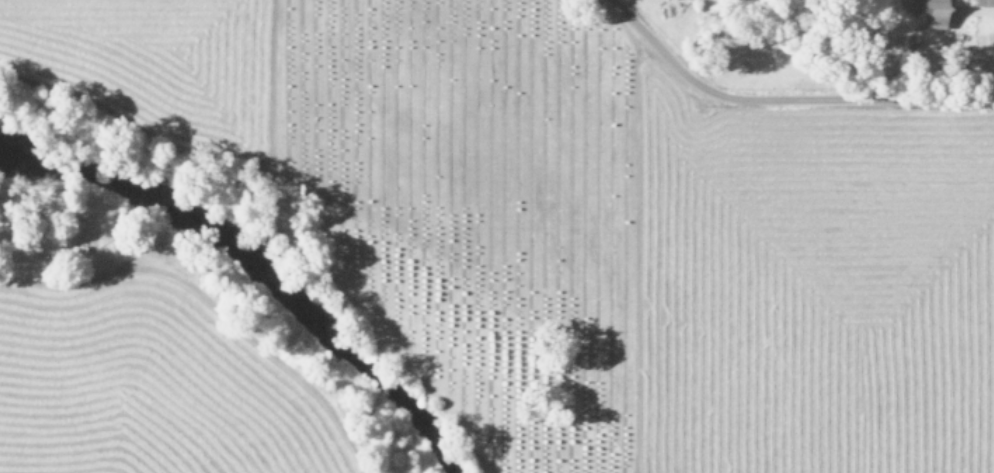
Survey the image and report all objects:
building: (981, 2)
building: (926, 12)
road: (784, 98)
crop: (143, 384)

